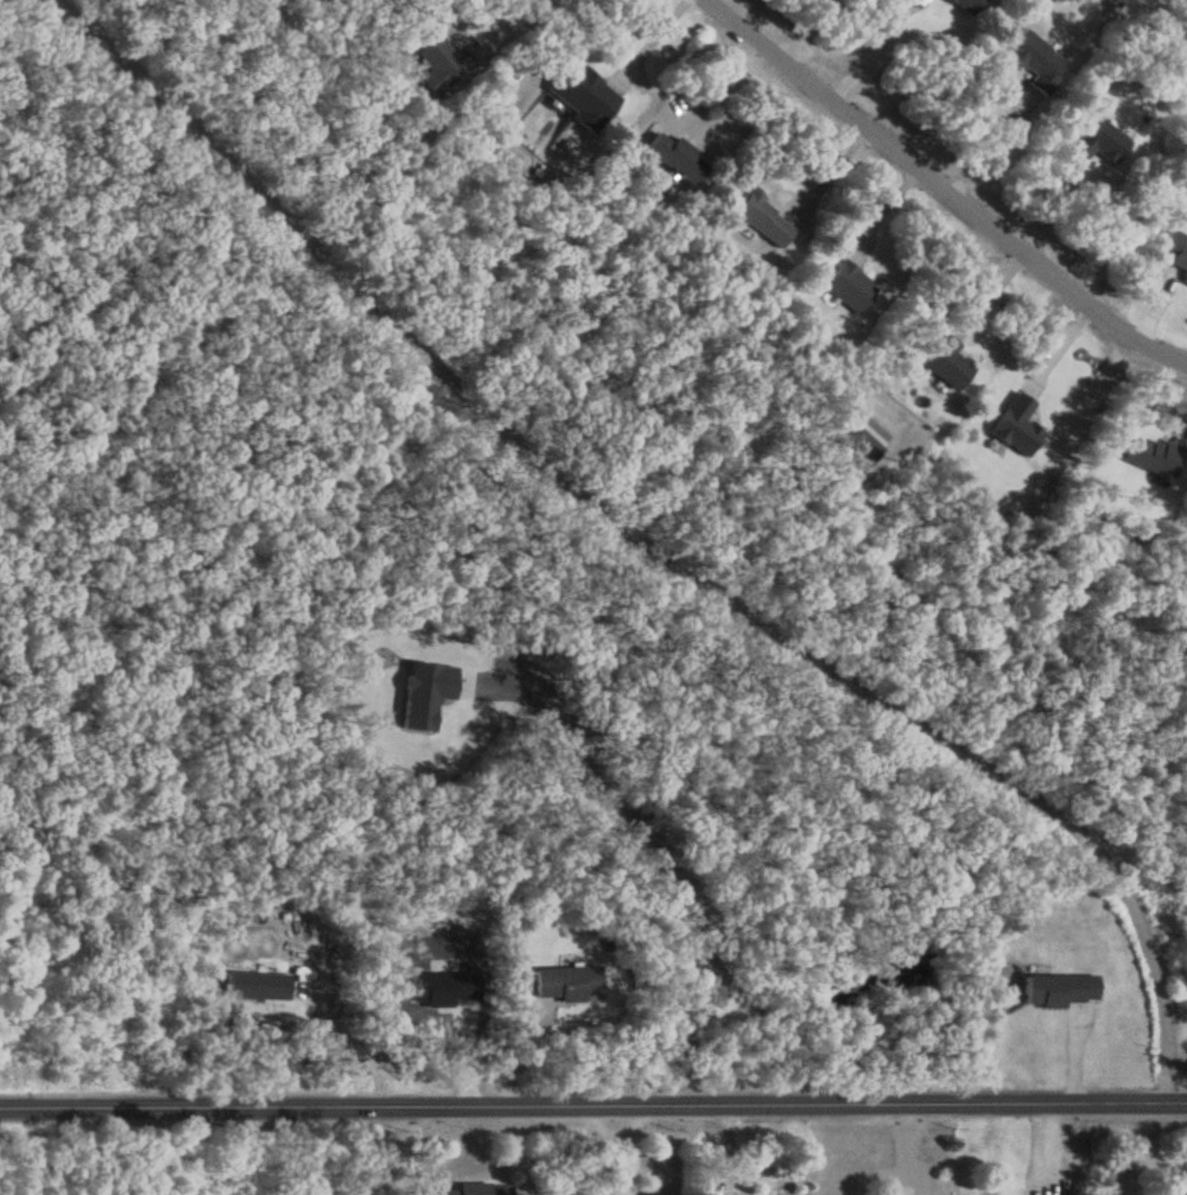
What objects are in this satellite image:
building: (966, 5)
road: (507, 15)
road: (798, 27)
road: (646, 40)
road: (871, 49)
building: (1035, 61)
building: (443, 62)
building: (580, 94)
road: (989, 140)
building: (1099, 142)
building: (675, 155)
road: (945, 189)
building: (761, 218)
building: (1176, 249)
building: (848, 285)
building: (946, 361)
road: (637, 541)
road: (649, 856)
building: (566, 983)
building: (1061, 989)
road: (353, 1049)
road: (592, 1101)
road: (628, 1148)
road: (386, 1150)
building: (477, 1189)

